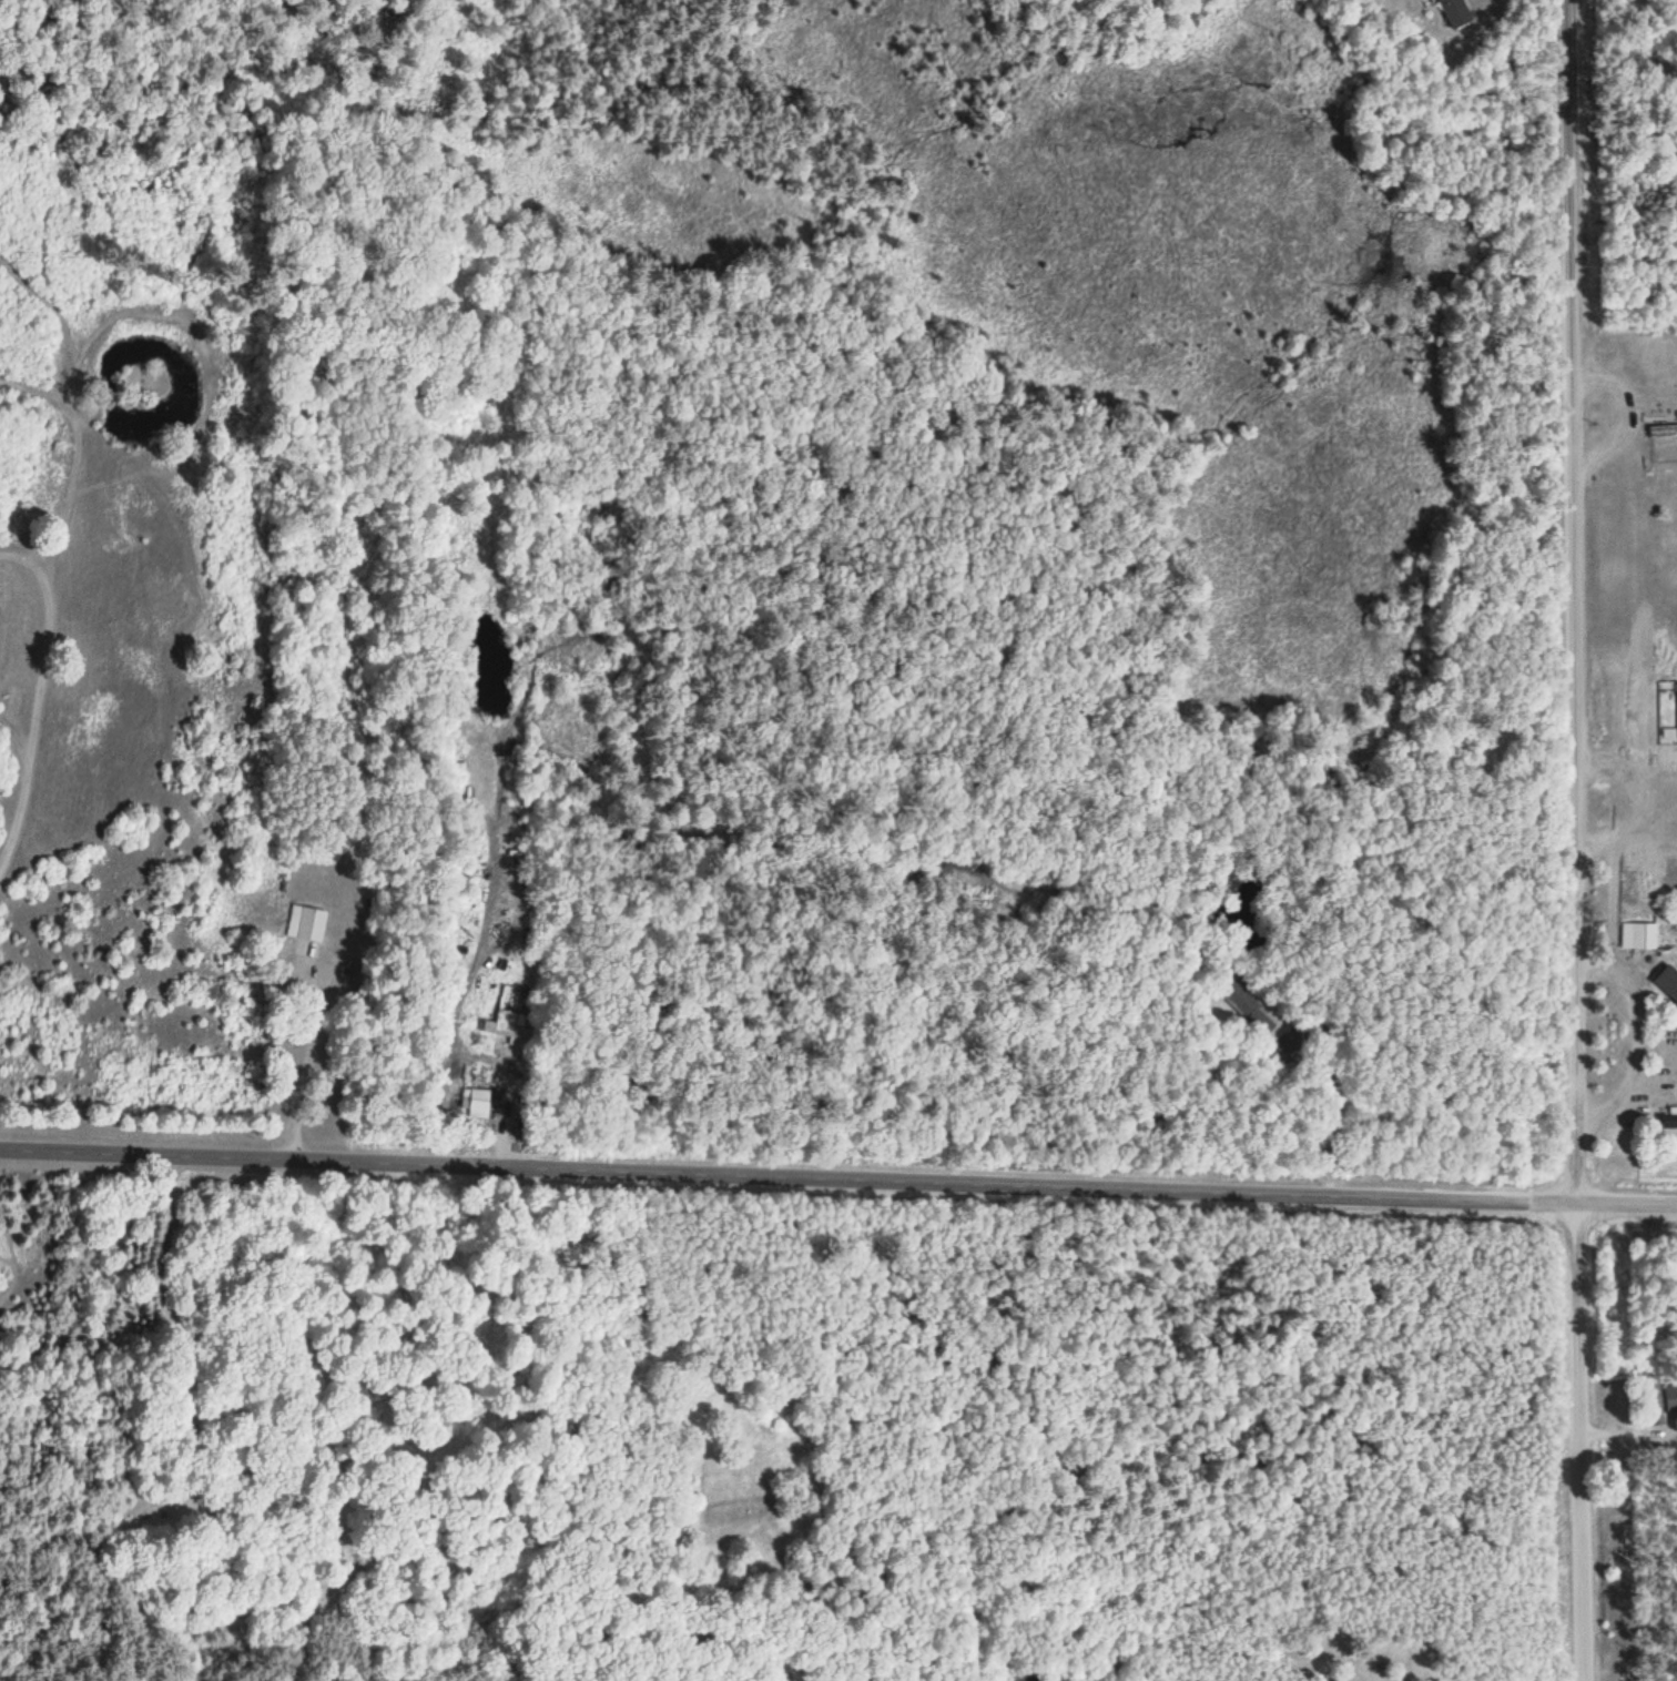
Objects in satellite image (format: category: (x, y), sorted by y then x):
building: (1455, 13)
building: (1663, 433)
road: (1567, 600)
building: (1666, 710)
building: (306, 930)
building: (1636, 936)
building: (1668, 982)
building: (1242, 1007)
building: (500, 1030)
road: (306, 1060)
building: (476, 1104)
building: (1670, 1116)
road: (786, 1175)
road: (1625, 1202)
building: (1670, 1398)
building: (1654, 1400)
road: (1578, 1441)

